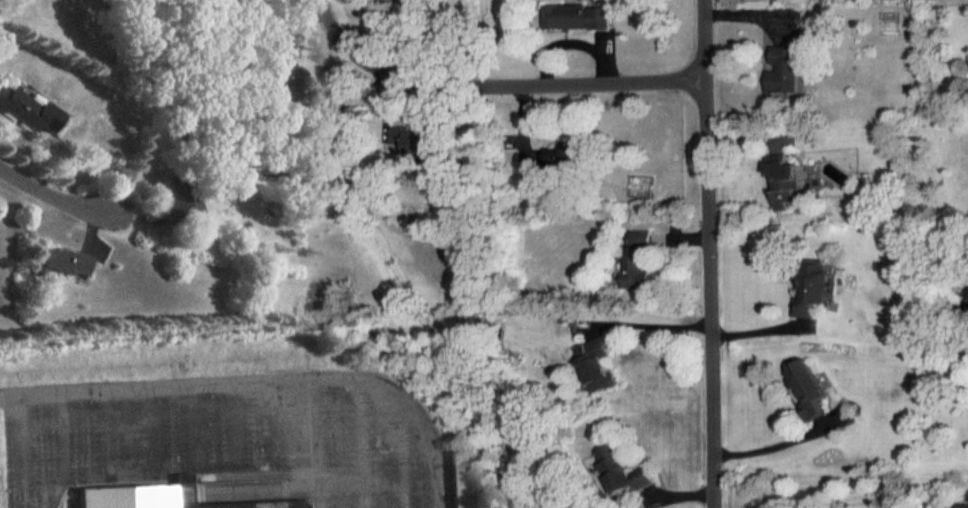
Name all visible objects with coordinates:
building: (222, 2)
building: (576, 17)
building: (785, 70)
road: (502, 85)
building: (23, 106)
building: (567, 155)
building: (789, 184)
road: (53, 194)
building: (176, 199)
road: (709, 254)
building: (67, 260)
building: (636, 260)
building: (811, 297)
road: (761, 331)
building: (600, 363)
road: (261, 383)
building: (810, 388)
road: (232, 425)
road: (108, 427)
road: (190, 427)
road: (151, 428)
road: (65, 431)
road: (359, 431)
parking lot: (225, 434)
road: (399, 438)
road: (315, 444)
road: (773, 446)
road: (24, 452)
building: (636, 477)
road: (377, 478)
building: (461, 481)
road: (362, 493)
road: (403, 493)
building: (163, 497)

